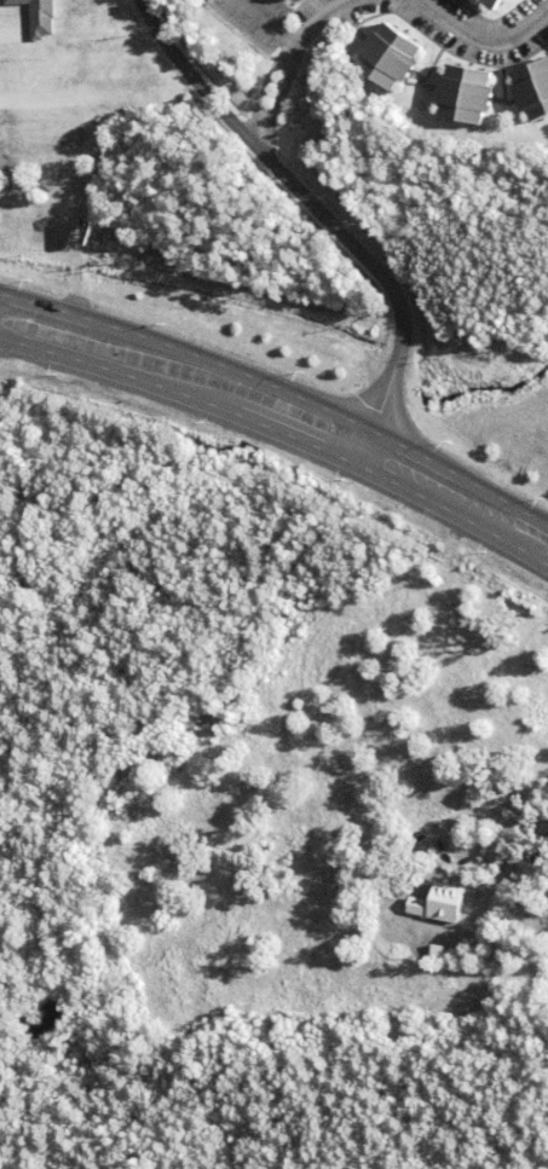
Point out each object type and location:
building: (488, 5)
building: (38, 17)
road: (481, 35)
road: (281, 57)
building: (390, 60)
building: (533, 93)
building: (466, 98)
road: (311, 212)
road: (282, 412)
road: (359, 868)
building: (442, 908)
building: (7, 1100)

